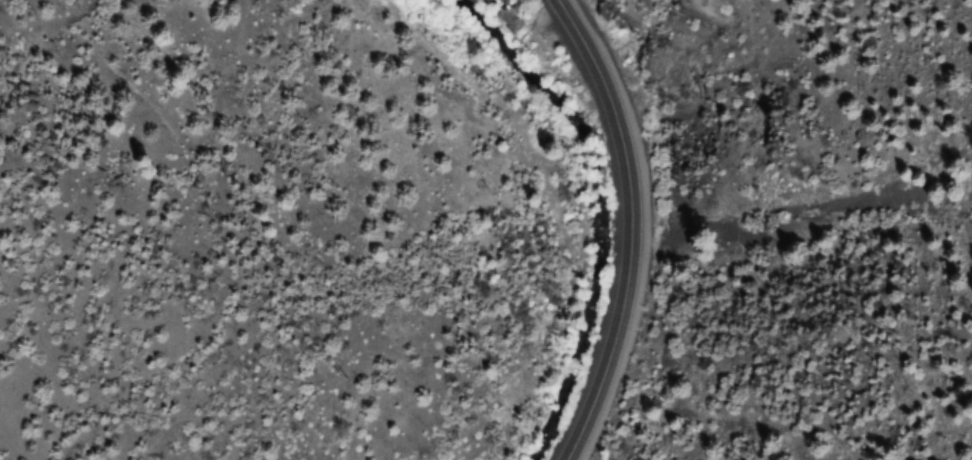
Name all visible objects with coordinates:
road: (631, 226)

